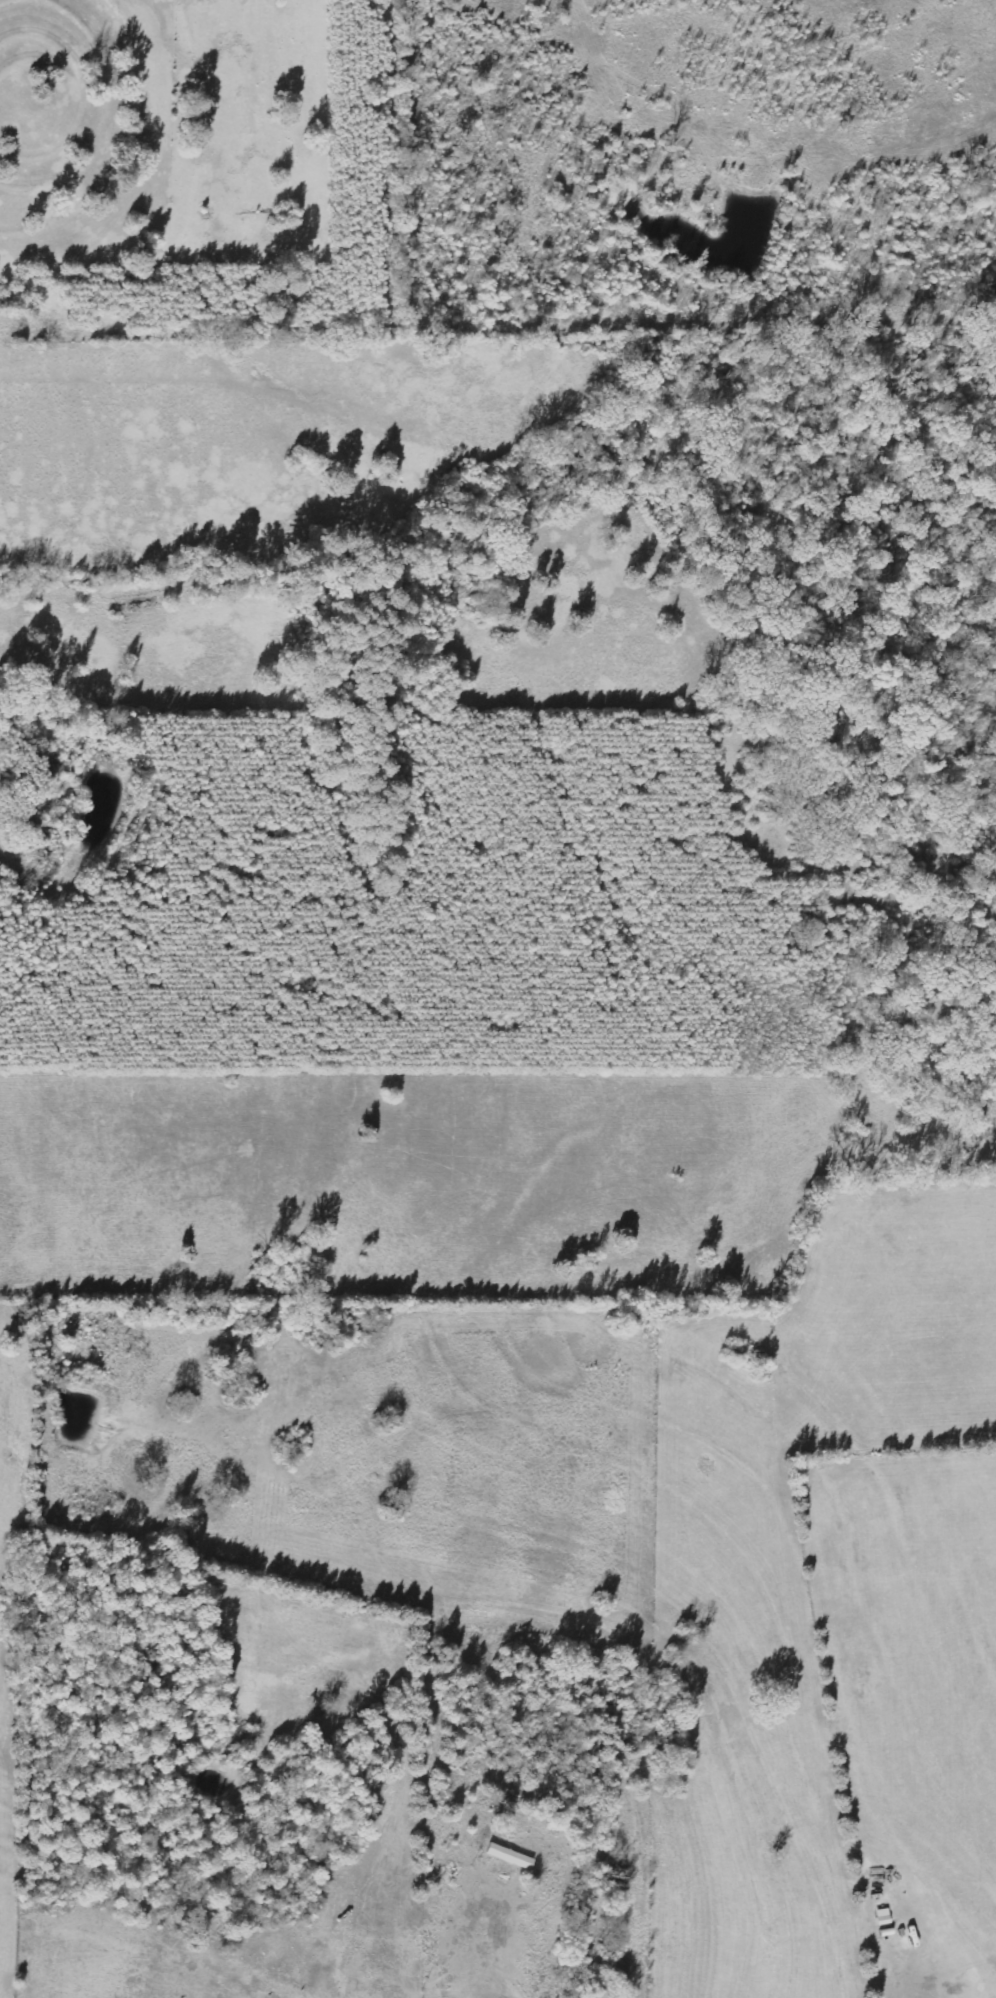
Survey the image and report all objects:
building: (510, 1857)

